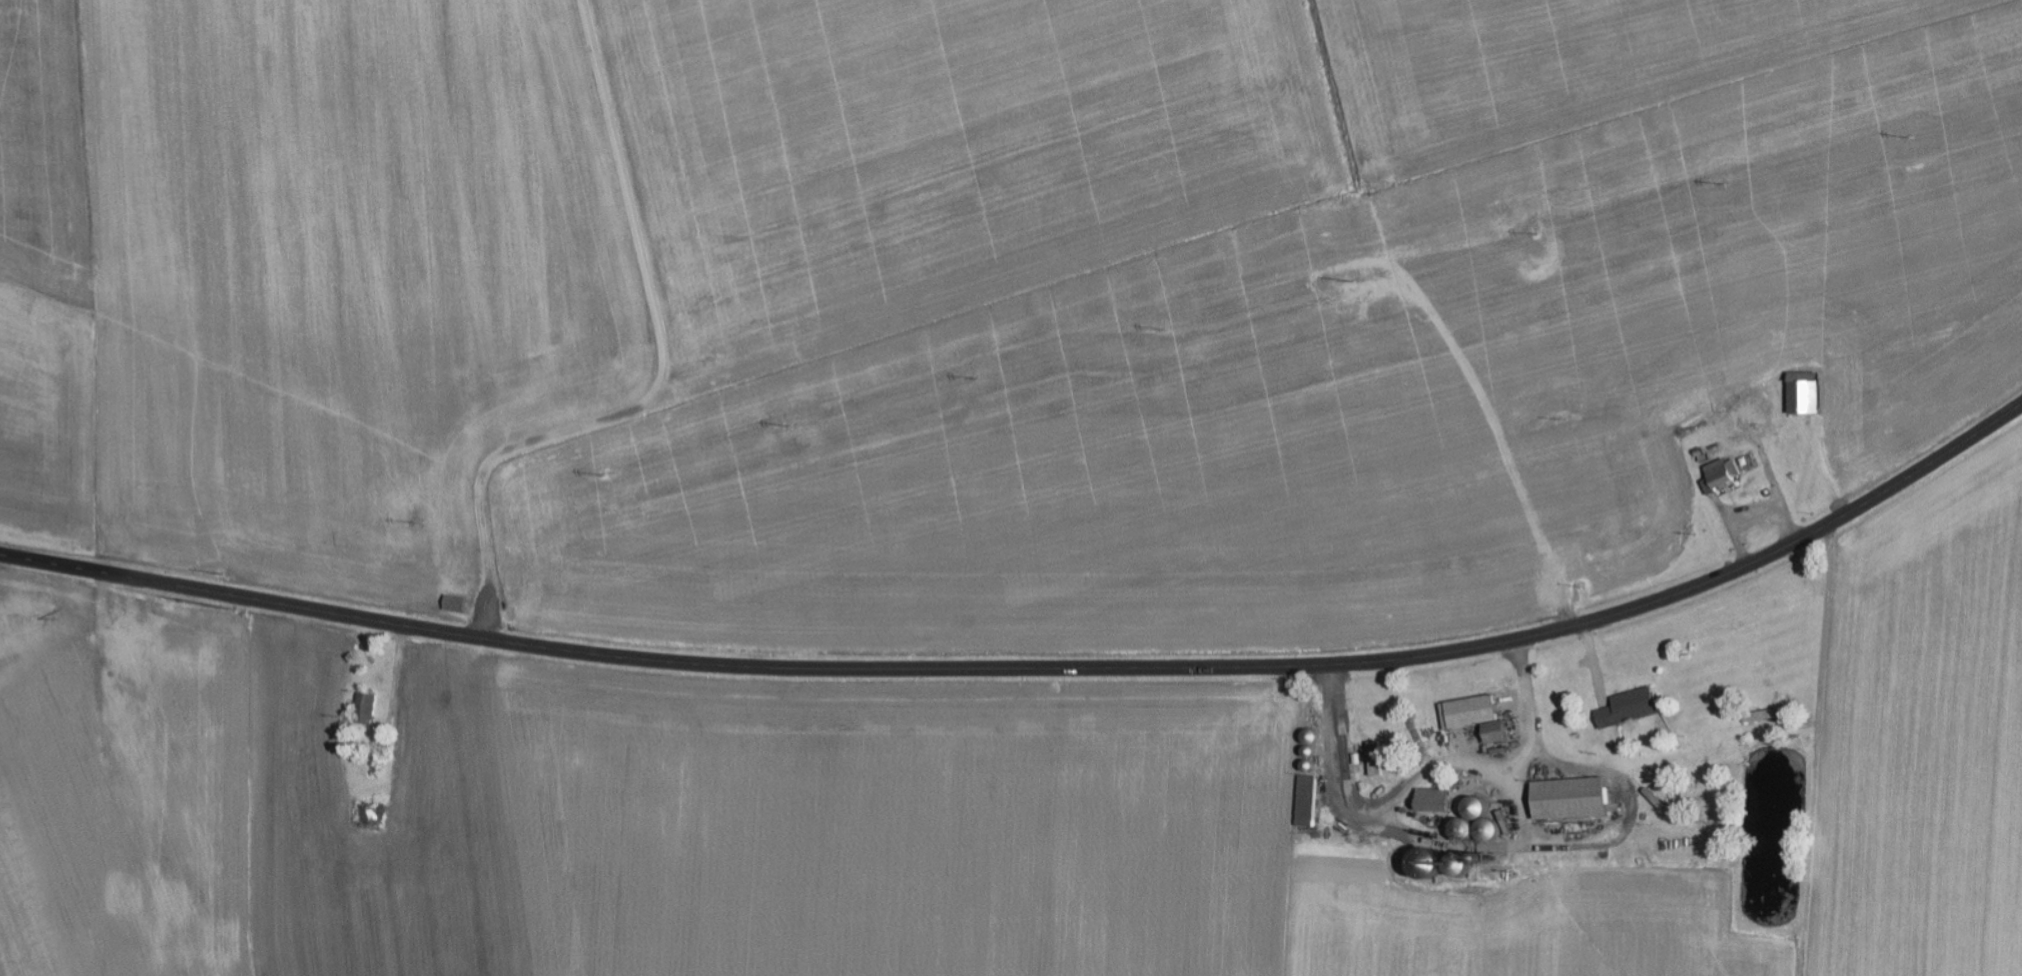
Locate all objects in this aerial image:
building: (1804, 393)
road: (1036, 666)
building: (369, 705)
building: (1469, 713)
building: (1435, 799)
building: (1571, 799)
building: (1308, 802)

